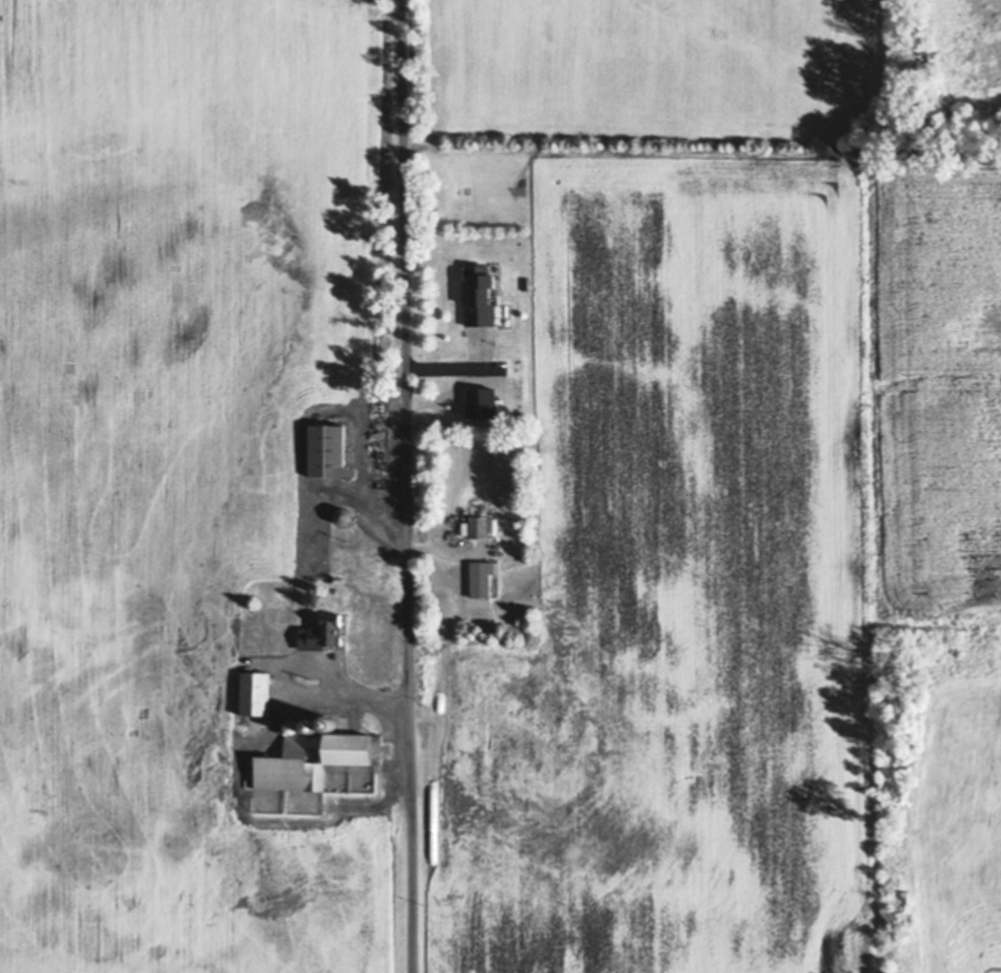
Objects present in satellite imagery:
building: (480, 296)
building: (498, 296)
building: (325, 450)
road: (365, 481)
road: (407, 486)
building: (344, 515)
building: (477, 526)
building: (481, 579)
building: (494, 582)
building: (323, 633)
road: (300, 686)
building: (256, 694)
building: (330, 720)
building: (313, 723)
building: (295, 724)
building: (314, 758)

